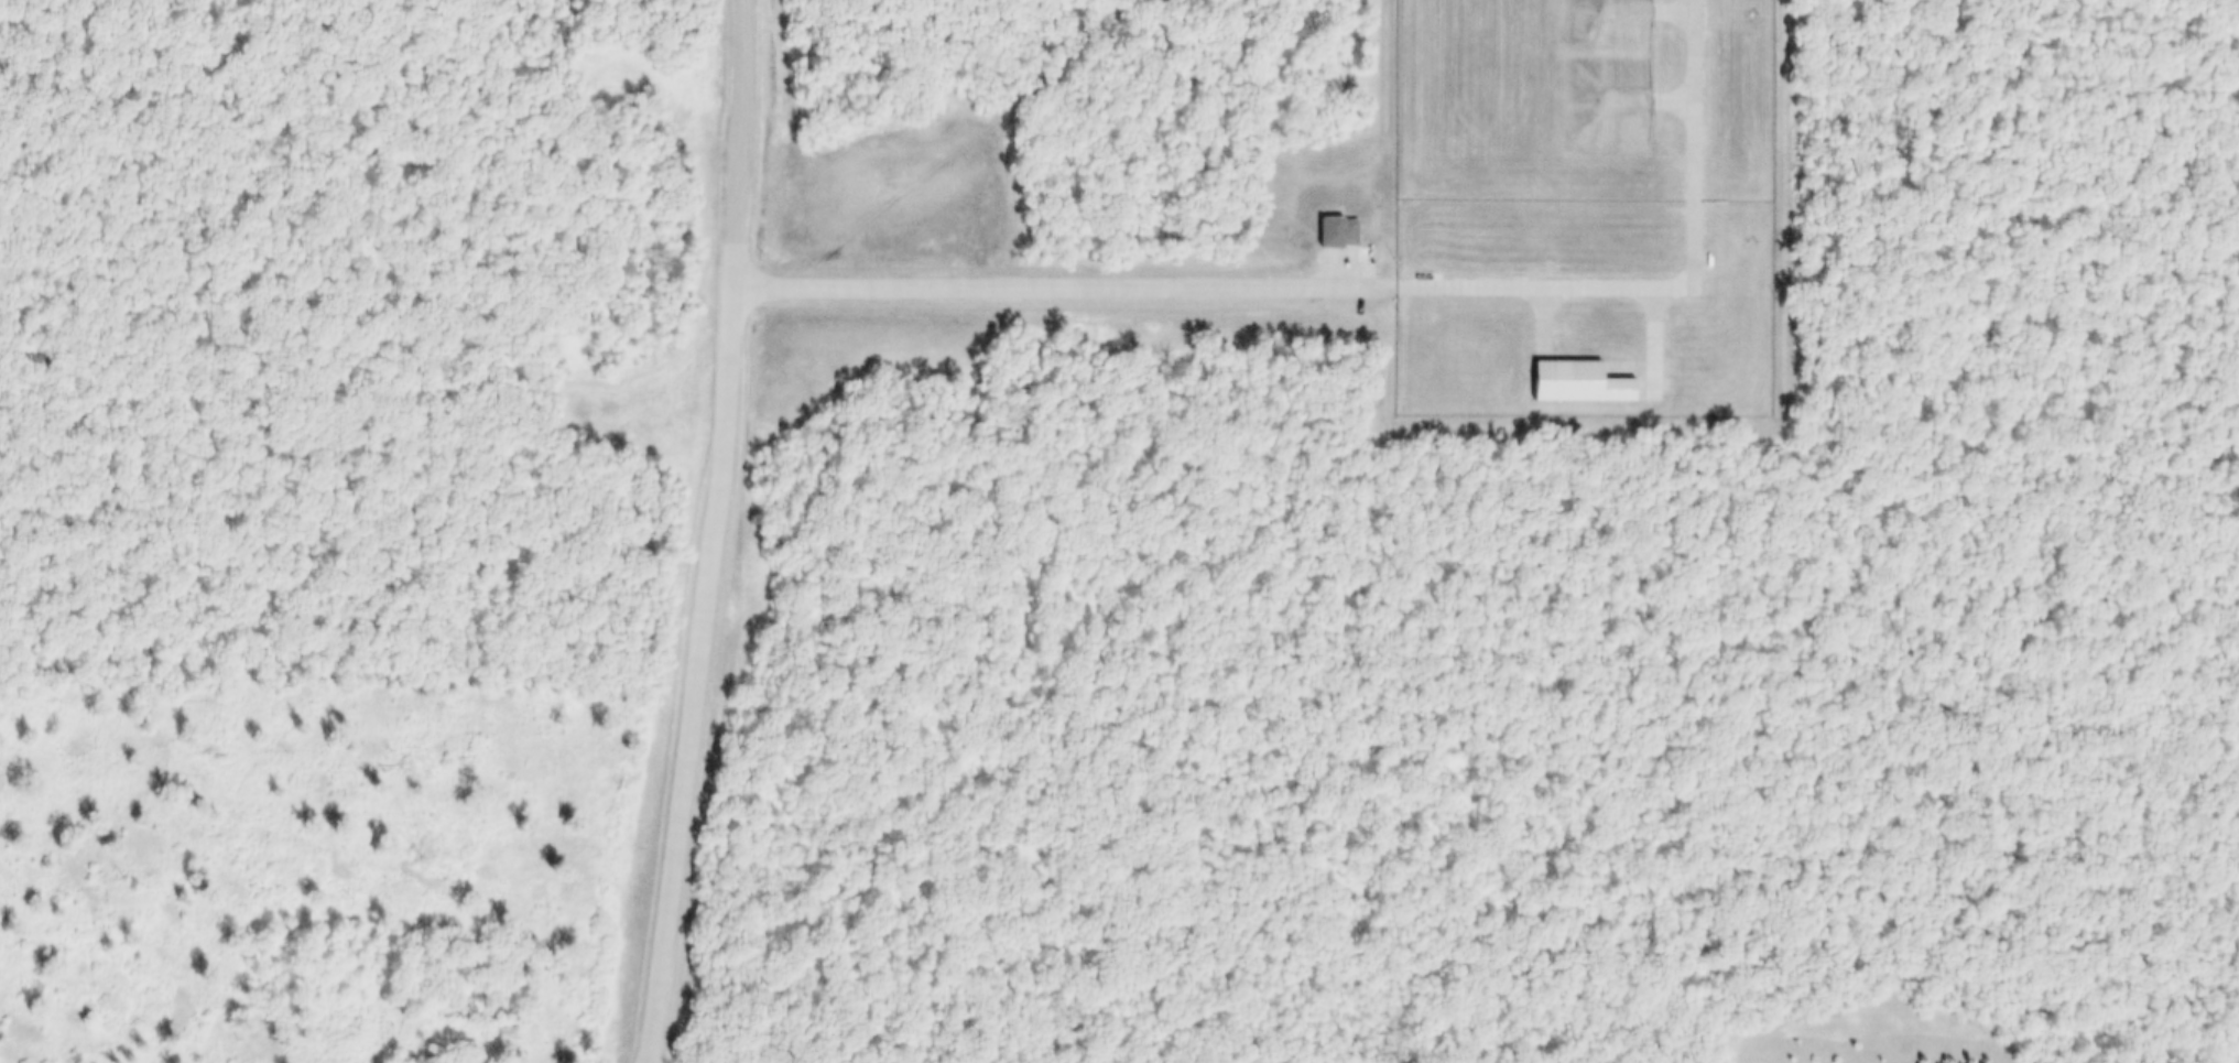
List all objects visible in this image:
building: (1601, 29)
building: (1601, 104)
road: (960, 121)
road: (746, 143)
building: (1330, 231)
road: (1351, 288)
road: (1539, 321)
road: (1646, 343)
building: (1565, 381)
road: (699, 675)

